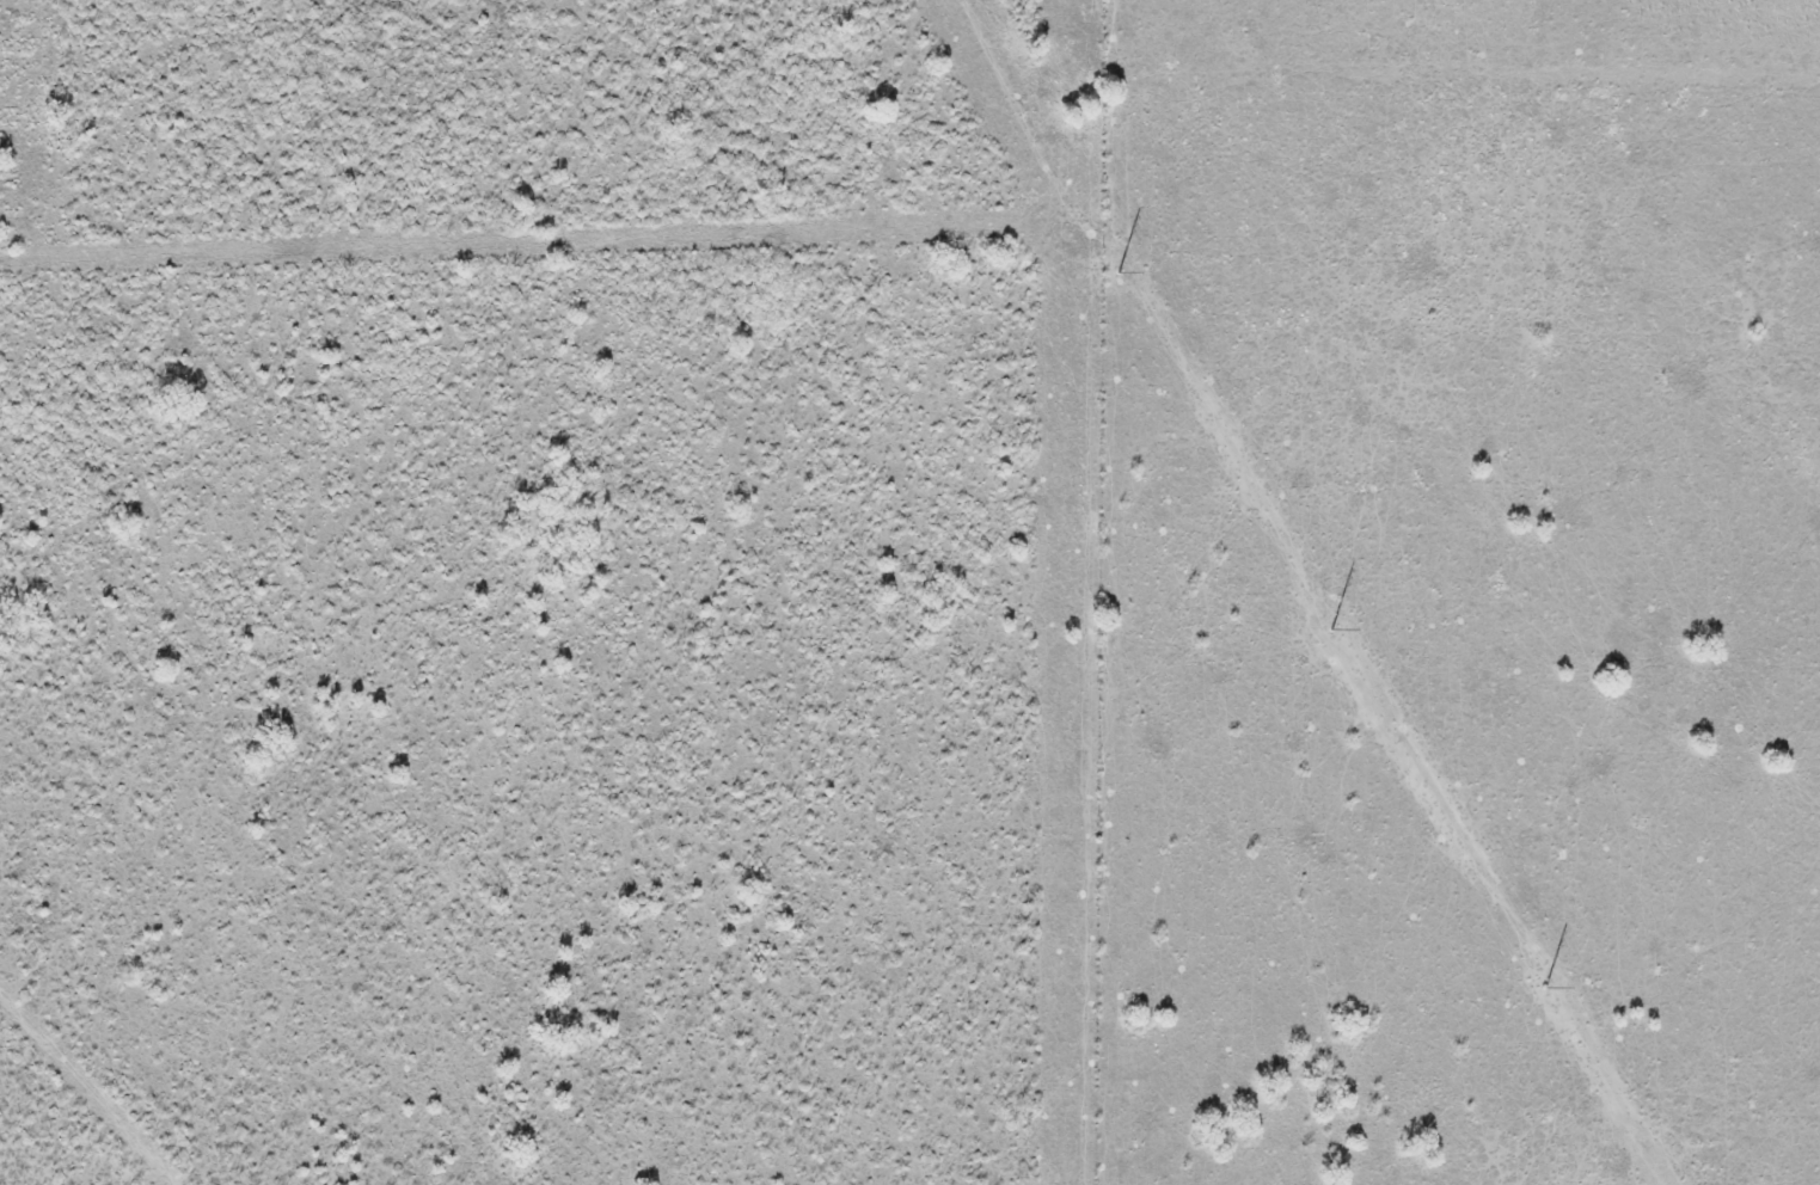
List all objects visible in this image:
power tower: (1120, 271)
power tower: (1331, 630)
power tower: (1545, 989)

